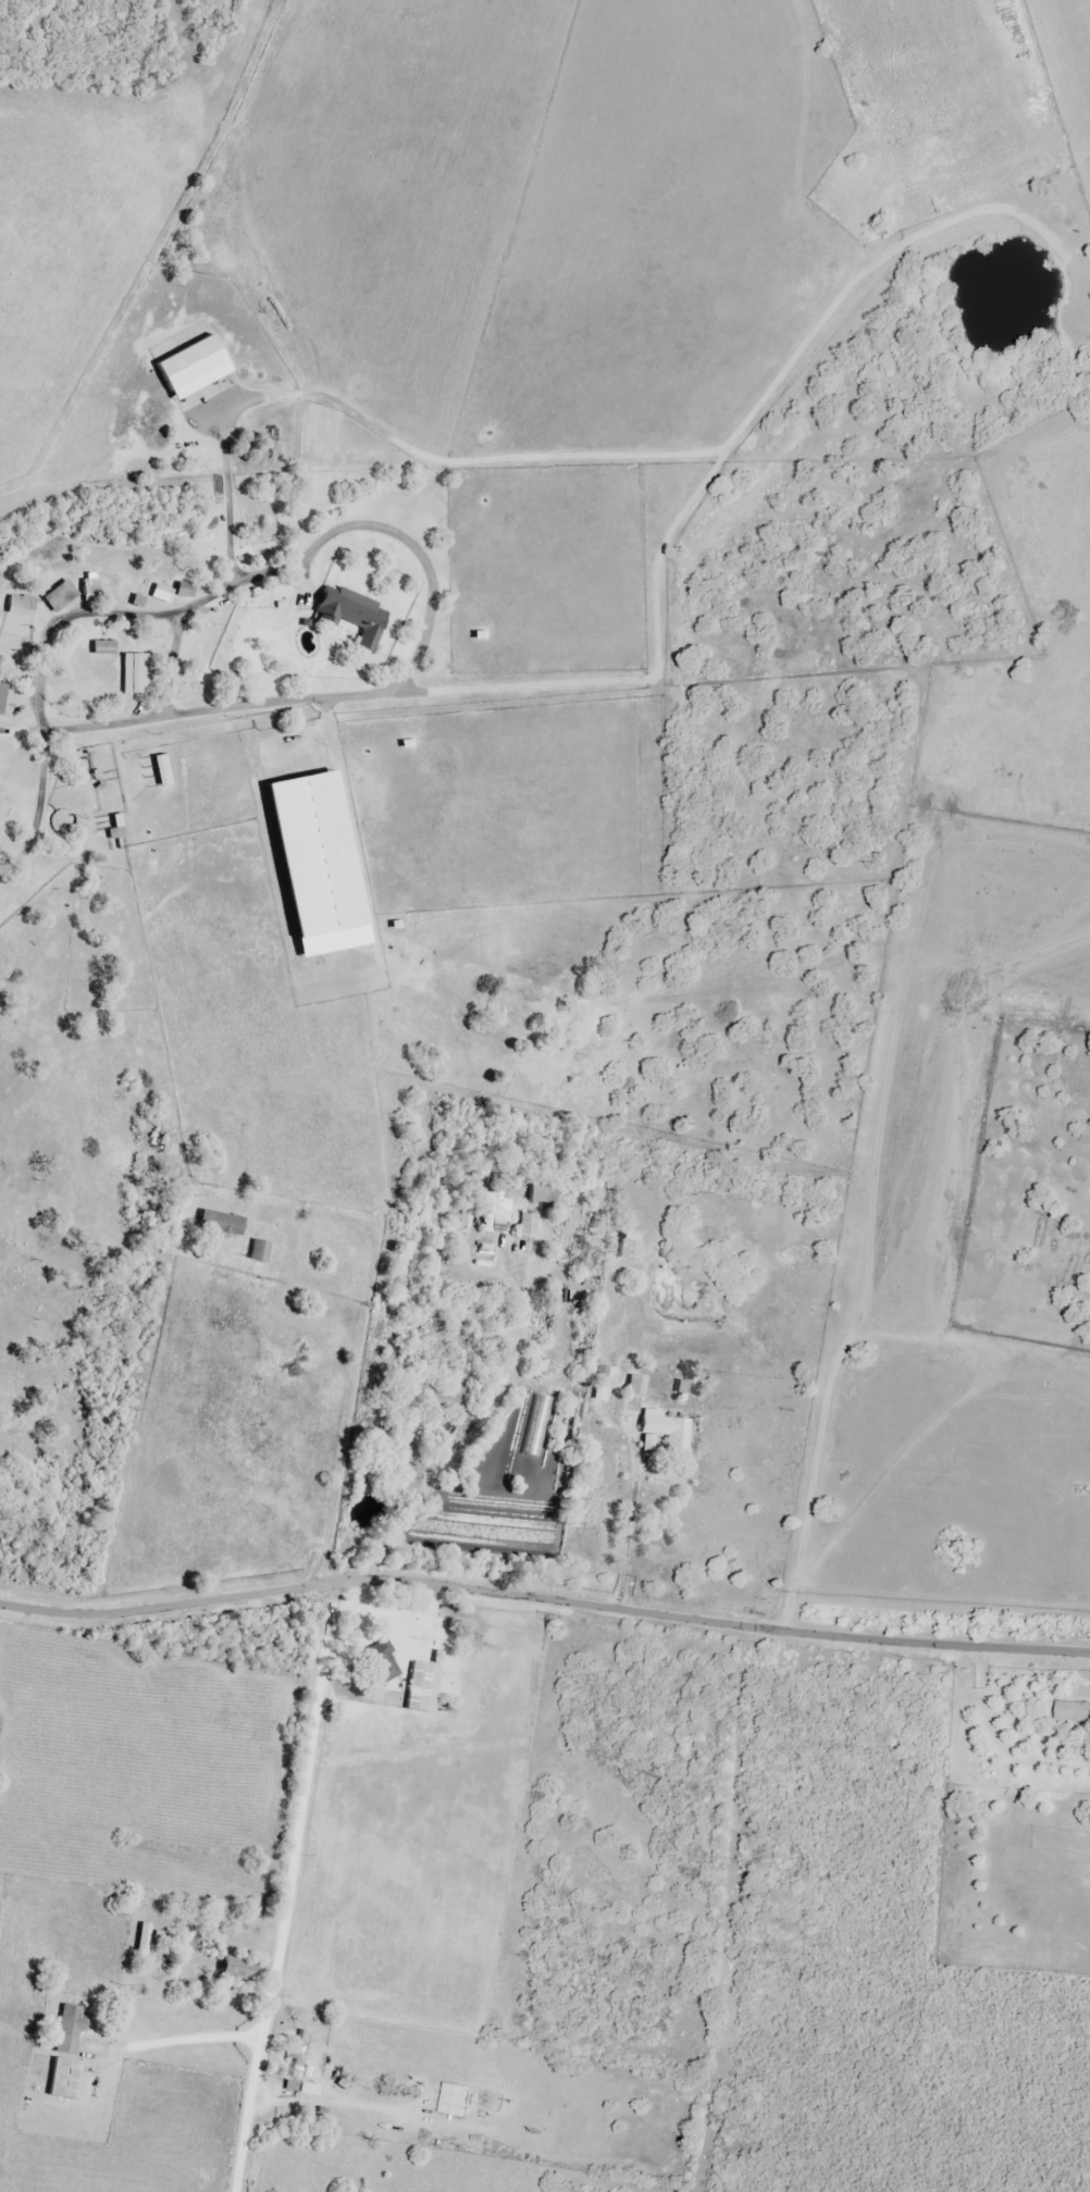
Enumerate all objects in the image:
building: (166, 593)
building: (3, 697)
road: (64, 726)
building: (122, 832)
park: (1029, 1191)
building: (531, 1225)
building: (634, 1249)
building: (639, 1385)
road: (86, 1396)
road: (814, 1409)
building: (669, 1433)
road: (544, 1602)
building: (429, 1687)
building: (1069, 1711)
road: (288, 1890)

